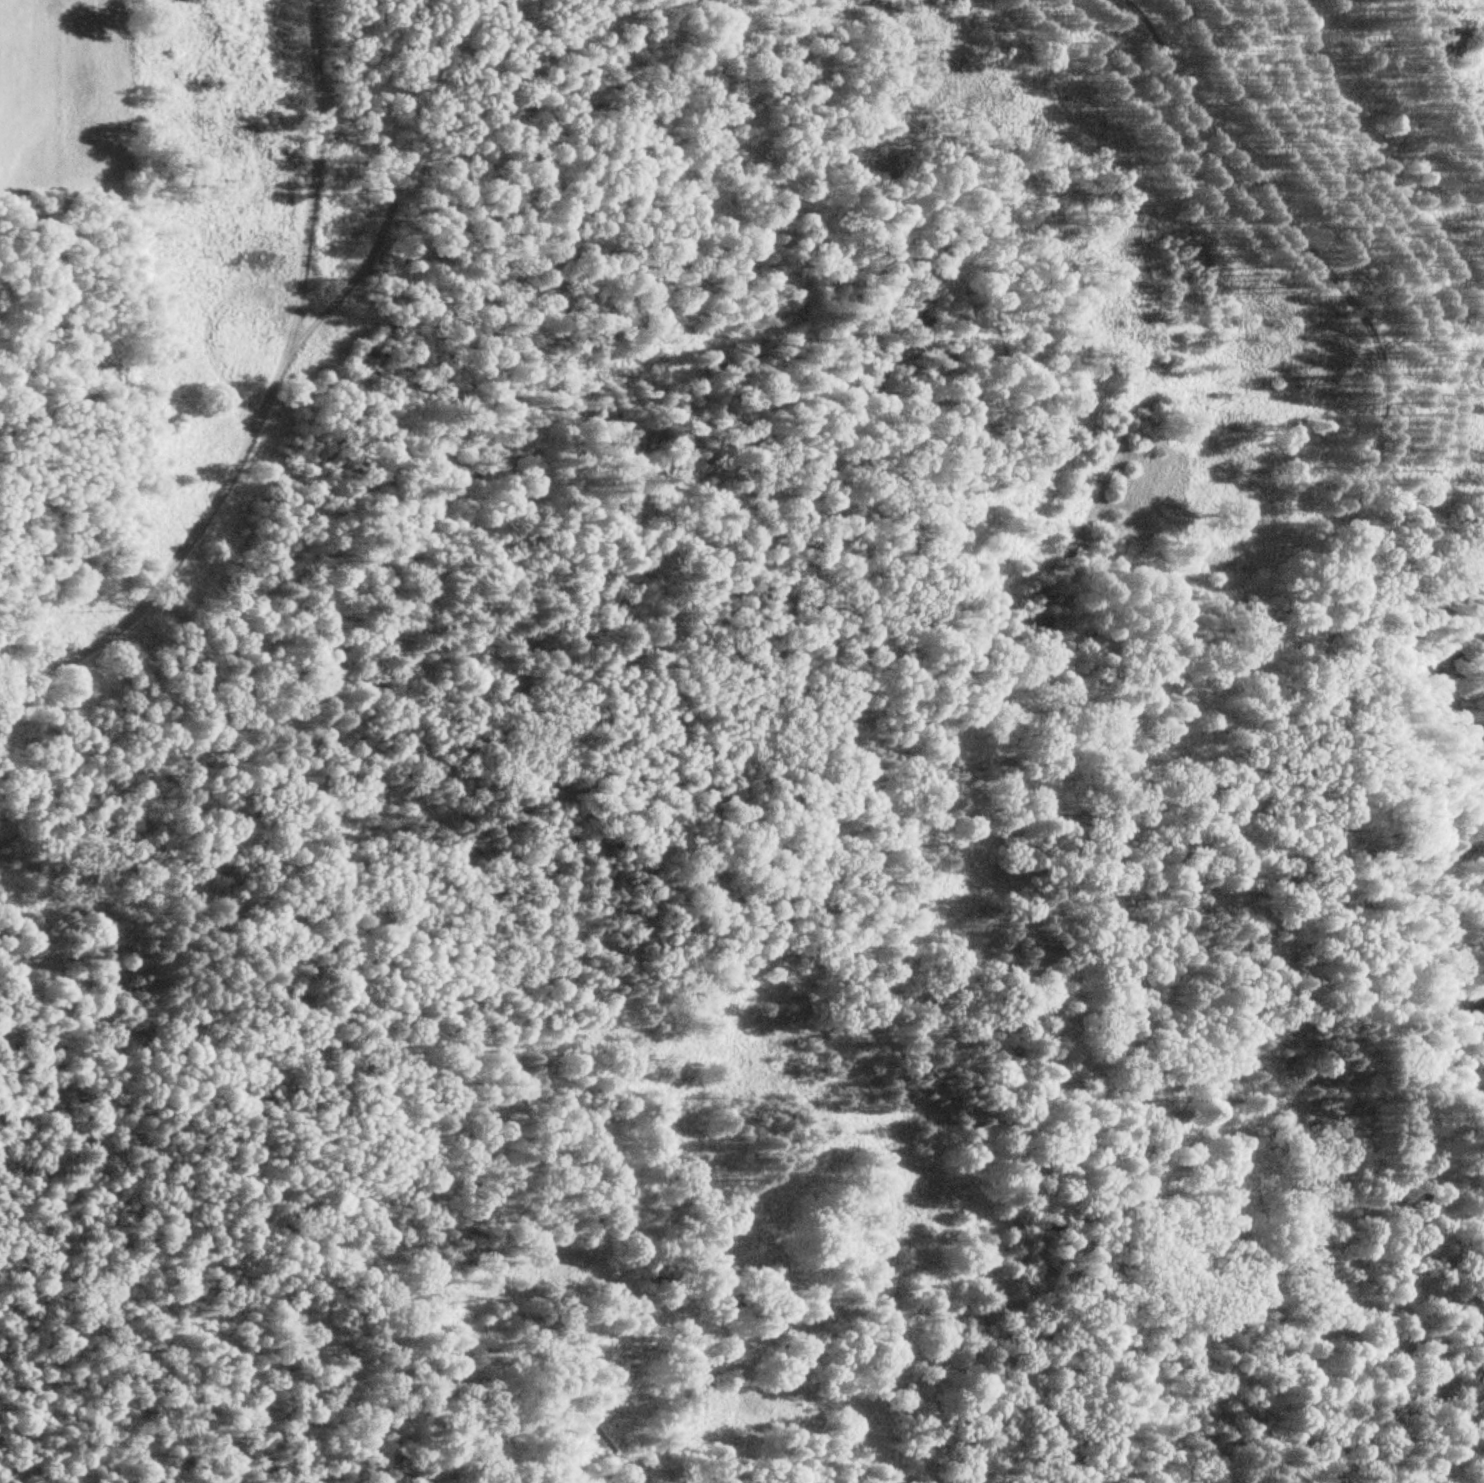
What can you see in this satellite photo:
road: (313, 174)
road: (302, 335)
road: (1418, 492)
road: (1284, 709)
road: (411, 1123)

